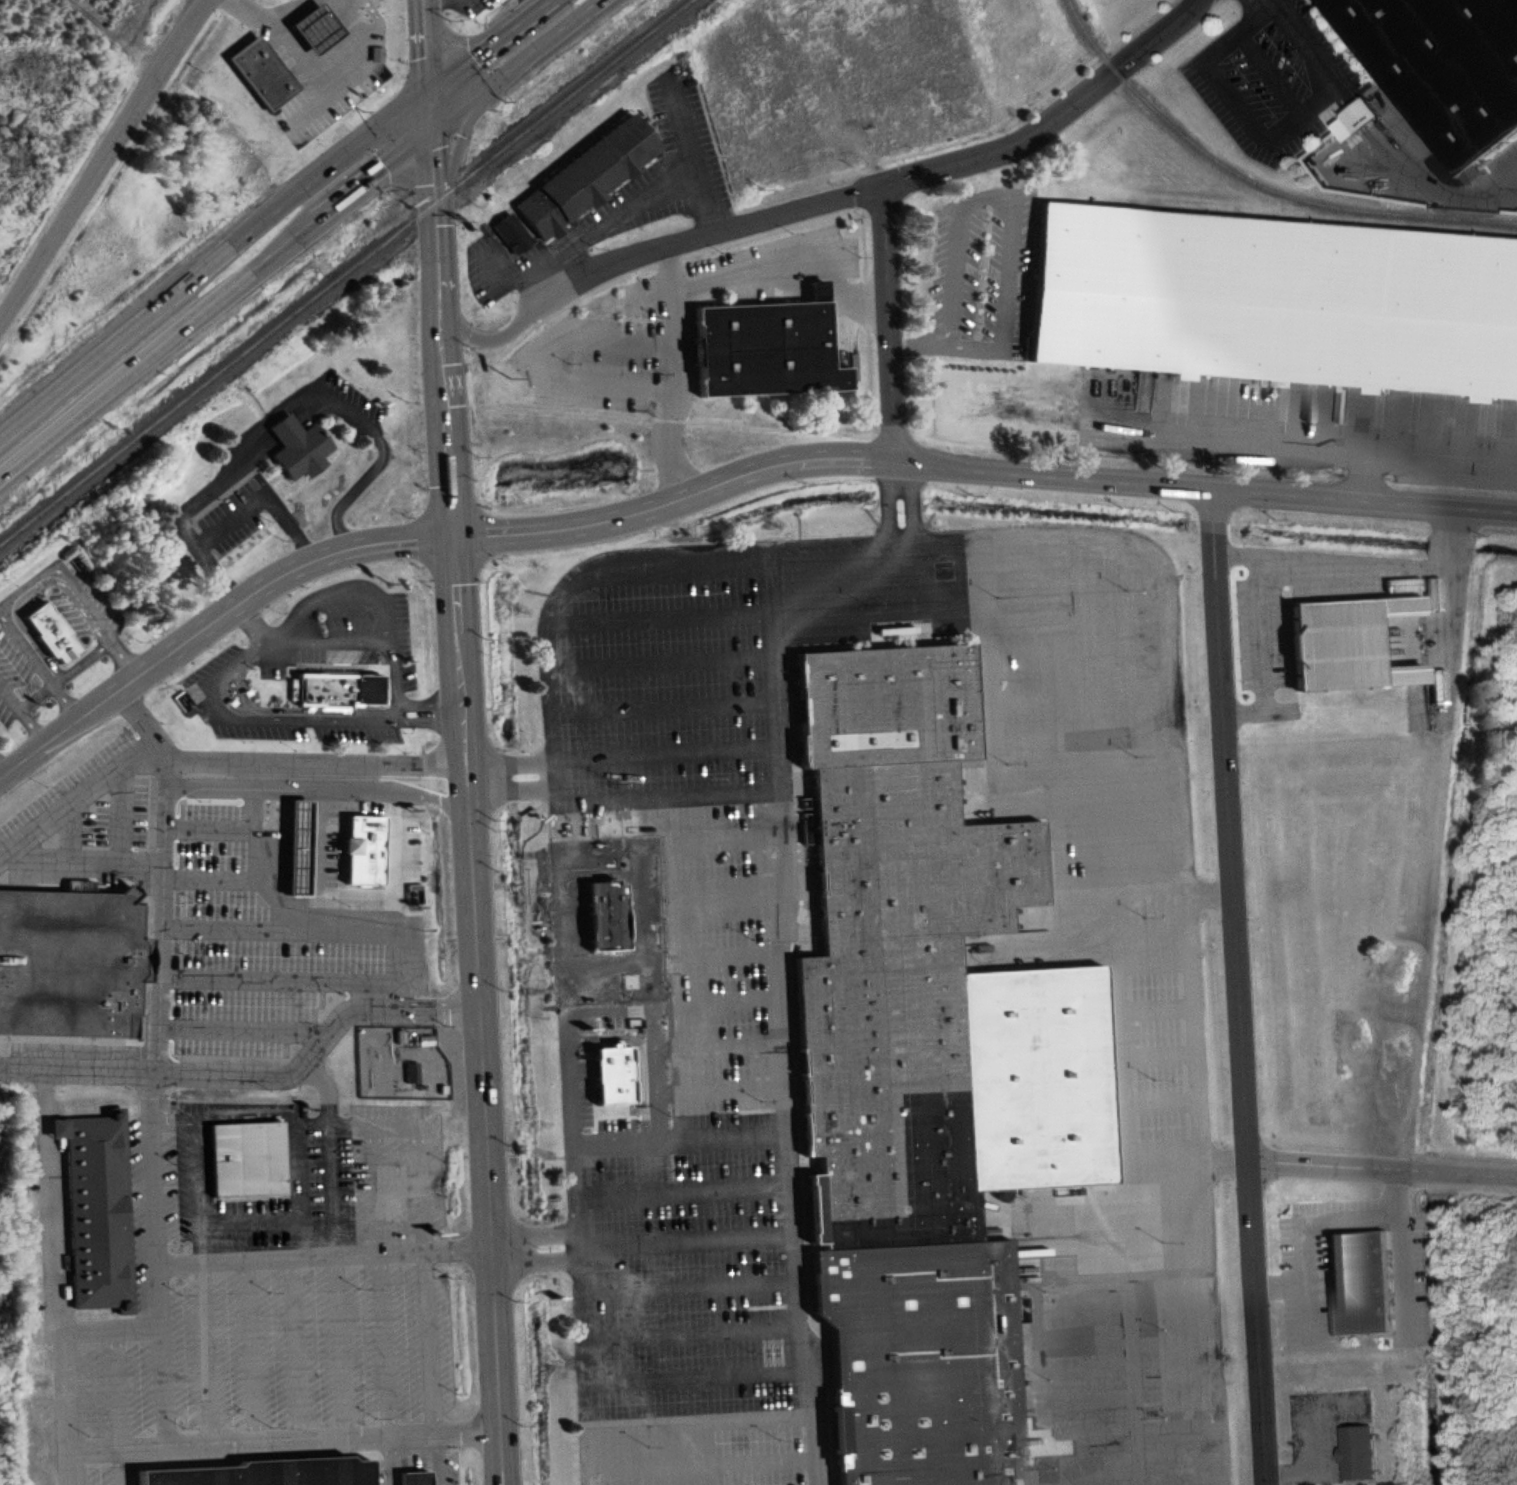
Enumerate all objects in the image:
building: (320, 24)
road: (546, 41)
road: (426, 43)
road: (491, 43)
building: (1446, 67)
road: (1268, 70)
building: (263, 71)
parking lot: (1276, 77)
traffic signals: (491, 83)
traffic signals: (430, 87)
road: (321, 91)
road: (461, 105)
road: (306, 107)
road: (430, 107)
building: (1365, 115)
traffic signals: (431, 128)
road: (1258, 137)
road: (459, 139)
road: (103, 159)
road: (433, 164)
building: (588, 177)
railway: (1255, 183)
road: (885, 187)
building: (513, 232)
road: (215, 259)
railway: (345, 271)
building: (1277, 298)
road: (215, 303)
road: (890, 324)
road: (491, 337)
building: (768, 346)
road: (442, 368)
road: (676, 373)
road: (312, 398)
building: (301, 445)
road: (1308, 445)
road: (979, 468)
road: (1362, 475)
road: (235, 517)
traffic signals: (451, 537)
road: (1332, 556)
road: (343, 580)
road: (1447, 580)
road: (78, 593)
building: (1434, 594)
road: (661, 603)
road: (971, 611)
road: (211, 623)
road: (362, 627)
building: (1353, 628)
building: (54, 631)
road: (660, 647)
road: (1261, 650)
road: (1079, 654)
road: (36, 661)
road: (66, 675)
building: (342, 689)
road: (663, 697)
road: (1081, 700)
road: (268, 709)
road: (22, 713)
road: (665, 746)
road: (1083, 746)
road: (316, 757)
road: (2, 769)
road: (997, 770)
road: (510, 777)
road: (317, 785)
road: (1100, 788)
road: (668, 796)
road: (78, 797)
road: (122, 813)
road: (70, 831)
road: (1120, 838)
road: (671, 841)
building: (303, 844)
building: (368, 847)
road: (316, 852)
road: (389, 855)
road: (80, 859)
road: (244, 863)
road: (1184, 887)
road: (673, 888)
road: (266, 894)
road: (1209, 896)
road: (1124, 901)
parking lot: (1093, 904)
road: (300, 918)
road: (562, 926)
road: (783, 933)
road: (674, 954)
building: (924, 956)
building: (69, 962)
road: (296, 967)
road: (1237, 987)
road: (674, 1002)
road: (479, 1010)
road: (1152, 1013)
parking lot: (674, 1016)
road: (246, 1019)
road: (318, 1046)
road: (676, 1046)
road: (1154, 1055)
road: (1116, 1059)
power substation: (399, 1060)
road: (76, 1071)
road: (678, 1092)
road: (1157, 1102)
road: (681, 1139)
road: (421, 1146)
road: (195, 1147)
road: (330, 1154)
building: (250, 1160)
road: (1223, 1162)
road: (1382, 1169)
road: (684, 1192)
building: (93, 1199)
road: (289, 1216)
road: (1164, 1226)
road: (152, 1227)
road: (300, 1235)
road: (322, 1254)
road: (1167, 1276)
building: (1362, 1280)
road: (382, 1281)
road: (690, 1290)
road: (1130, 1325)
road: (696, 1333)
road: (1171, 1344)
road: (338, 1346)
road: (66, 1348)
road: (294, 1348)
road: (251, 1350)
road: (207, 1352)
building: (918, 1356)
road: (812, 1358)
road: (432, 1367)
road: (701, 1376)
road: (117, 1389)
road: (1091, 1396)
road: (703, 1417)
road: (1132, 1439)
road: (102, 1449)
building: (1359, 1451)
road: (391, 1460)
road: (705, 1465)
road: (122, 1467)
building: (410, 1470)
building: (275, 1471)
road: (1186, 1483)

